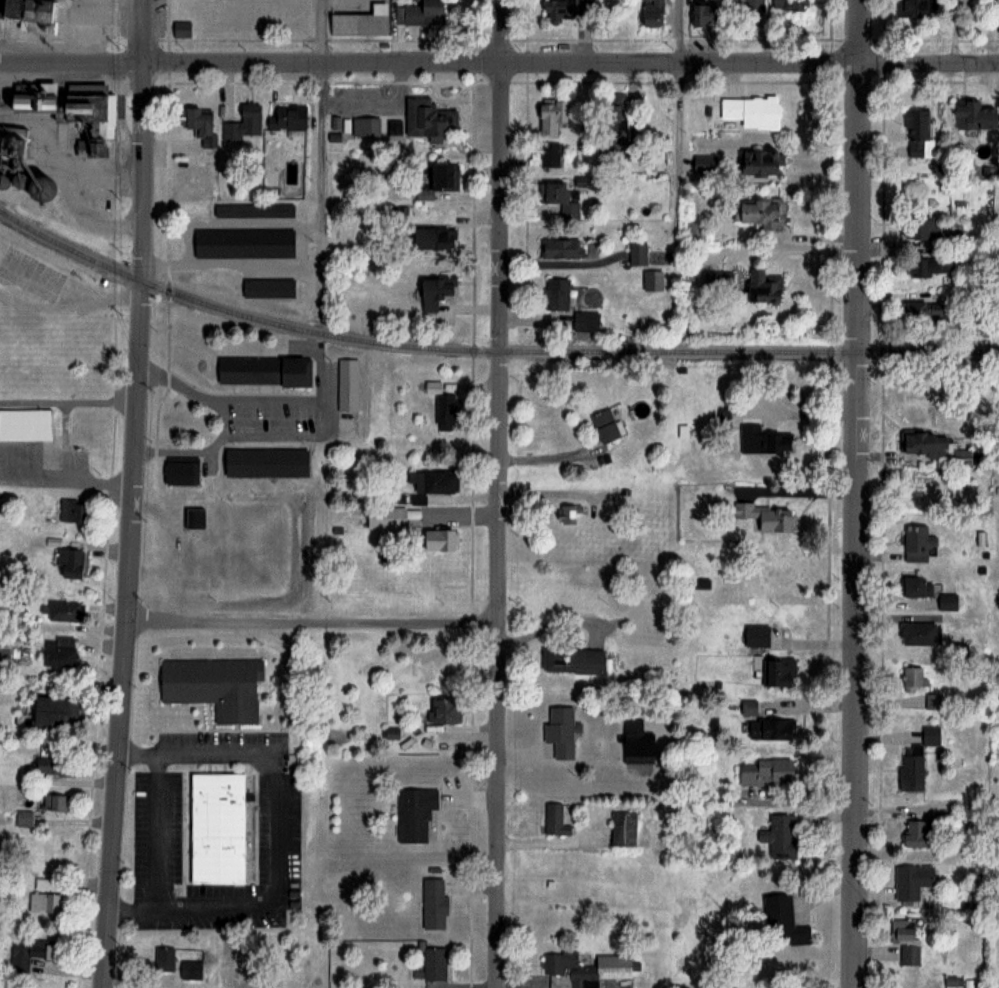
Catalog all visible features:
building: (786, 5)
building: (753, 6)
building: (913, 7)
building: (567, 9)
building: (28, 12)
building: (422, 13)
building: (651, 13)
building: (702, 14)
building: (360, 21)
building: (181, 29)
road: (323, 33)
road: (571, 64)
road: (71, 65)
building: (65, 104)
building: (748, 111)
building: (971, 115)
building: (421, 116)
building: (550, 116)
building: (286, 117)
road: (678, 121)
building: (243, 122)
building: (199, 123)
building: (613, 126)
building: (917, 133)
building: (549, 154)
building: (756, 163)
building: (701, 164)
building: (9, 166)
building: (295, 170)
building: (442, 177)
building: (274, 190)
building: (558, 199)
building: (254, 210)
building: (756, 212)
building: (920, 228)
building: (694, 232)
building: (432, 239)
building: (242, 242)
building: (560, 248)
road: (790, 249)
road: (318, 251)
building: (636, 254)
building: (927, 266)
building: (652, 280)
building: (716, 282)
building: (267, 287)
building: (761, 287)
building: (433, 291)
building: (555, 294)
building: (924, 310)
railway: (486, 351)
building: (263, 370)
building: (346, 384)
building: (433, 386)
building: (445, 410)
road: (225, 417)
road: (327, 419)
building: (25, 424)
building: (603, 425)
building: (79, 432)
building: (760, 439)
building: (922, 444)
building: (961, 457)
building: (264, 462)
building: (181, 469)
building: (434, 481)
road: (498, 493)
road: (856, 493)
road: (132, 494)
building: (72, 509)
building: (567, 513)
building: (763, 516)
building: (396, 517)
building: (194, 518)
building: (440, 539)
building: (917, 542)
building: (68, 564)
building: (916, 585)
building: (946, 601)
building: (64, 609)
road: (557, 622)
road: (312, 623)
building: (917, 633)
building: (755, 634)
building: (57, 651)
building: (571, 659)
building: (778, 671)
building: (915, 676)
building: (213, 685)
building: (932, 700)
building: (747, 706)
building: (443, 710)
building: (53, 711)
building: (770, 728)
building: (559, 730)
building: (635, 741)
road: (265, 756)
building: (52, 766)
building: (773, 767)
building: (55, 803)
building: (414, 813)
building: (23, 818)
building: (555, 819)
building: (216, 827)
building: (622, 828)
building: (914, 833)
building: (780, 835)
road: (154, 853)
building: (911, 880)
building: (48, 894)
building: (433, 903)
road: (216, 906)
building: (782, 919)
building: (904, 940)
building: (25, 953)
building: (163, 958)
building: (434, 962)
building: (587, 965)

